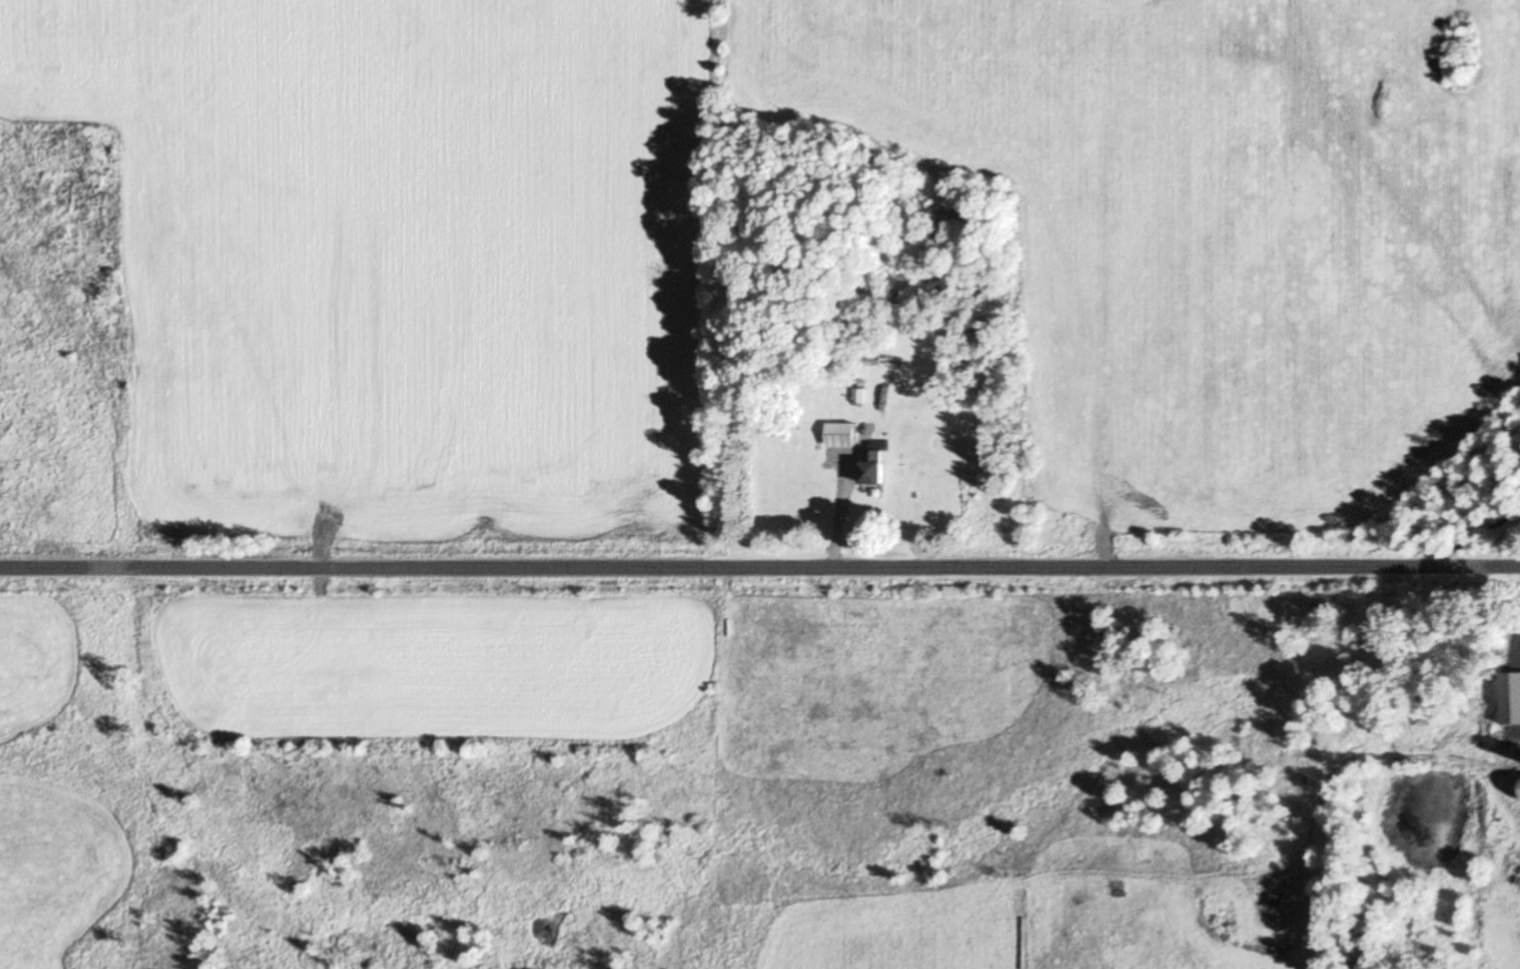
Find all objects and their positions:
building: (859, 395)
building: (841, 435)
building: (874, 468)
road: (760, 567)
building: (1513, 720)

